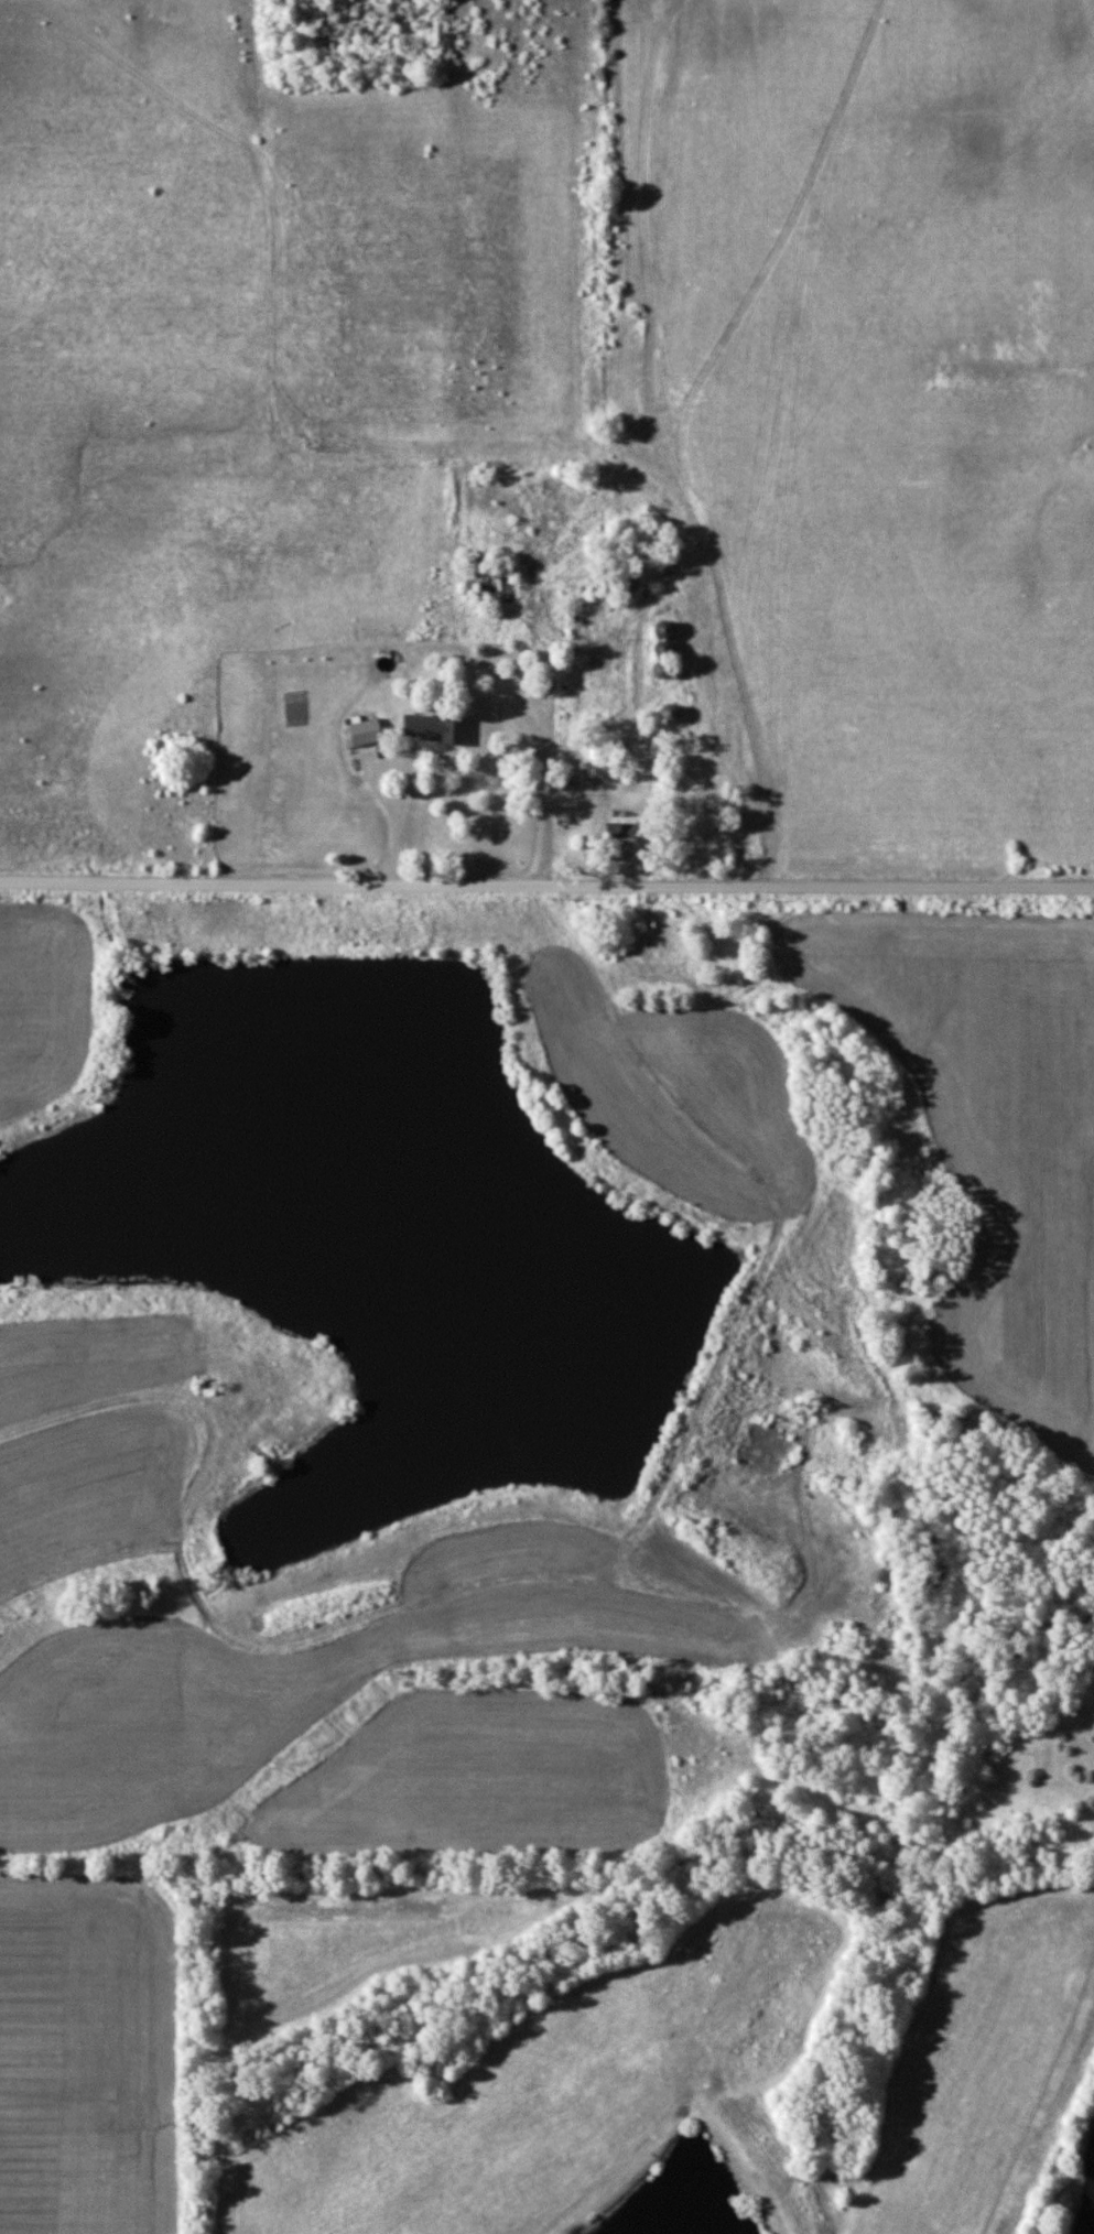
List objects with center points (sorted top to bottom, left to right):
building: (488, 584)
building: (668, 714)
building: (432, 730)
road: (546, 883)

